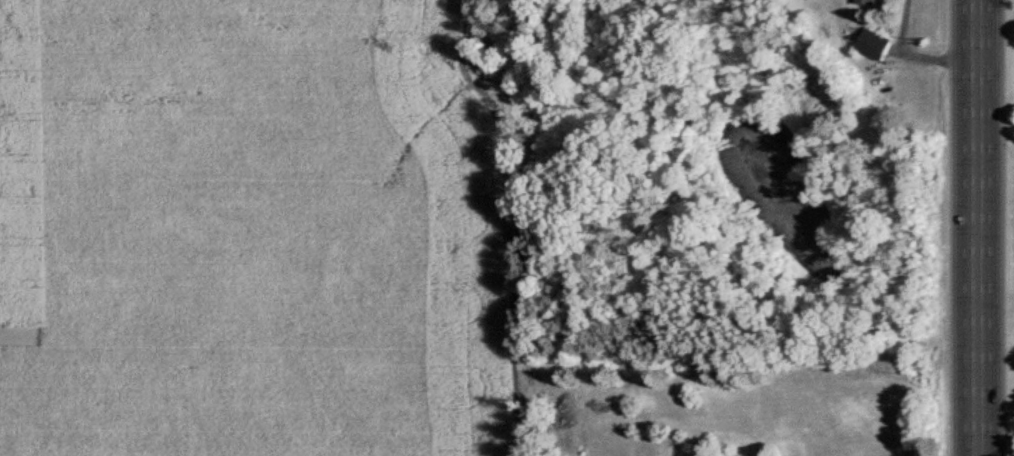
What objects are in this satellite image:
building: (866, 1)
building: (874, 43)
road: (913, 54)
road: (995, 128)
road: (976, 228)
building: (775, 455)

